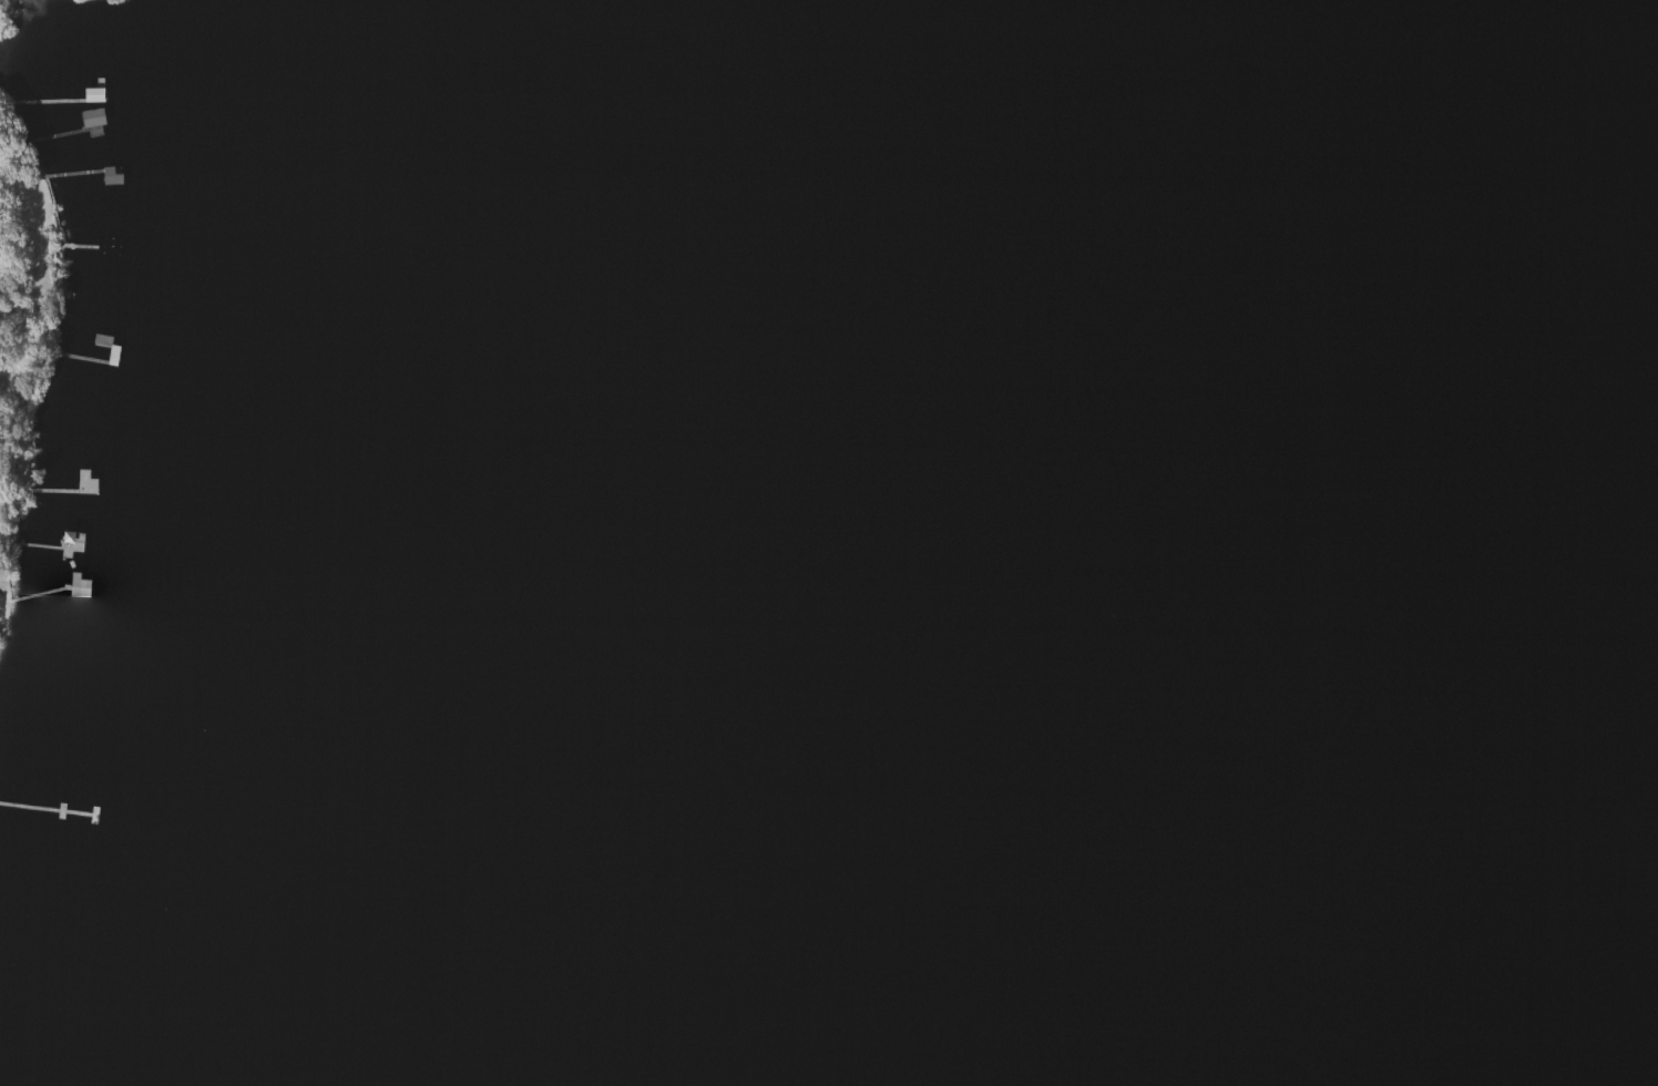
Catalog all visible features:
building: (91, 95)
building: (91, 119)
building: (110, 177)
building: (110, 247)
river: (1265, 543)
building: (76, 586)
building: (27, 998)

